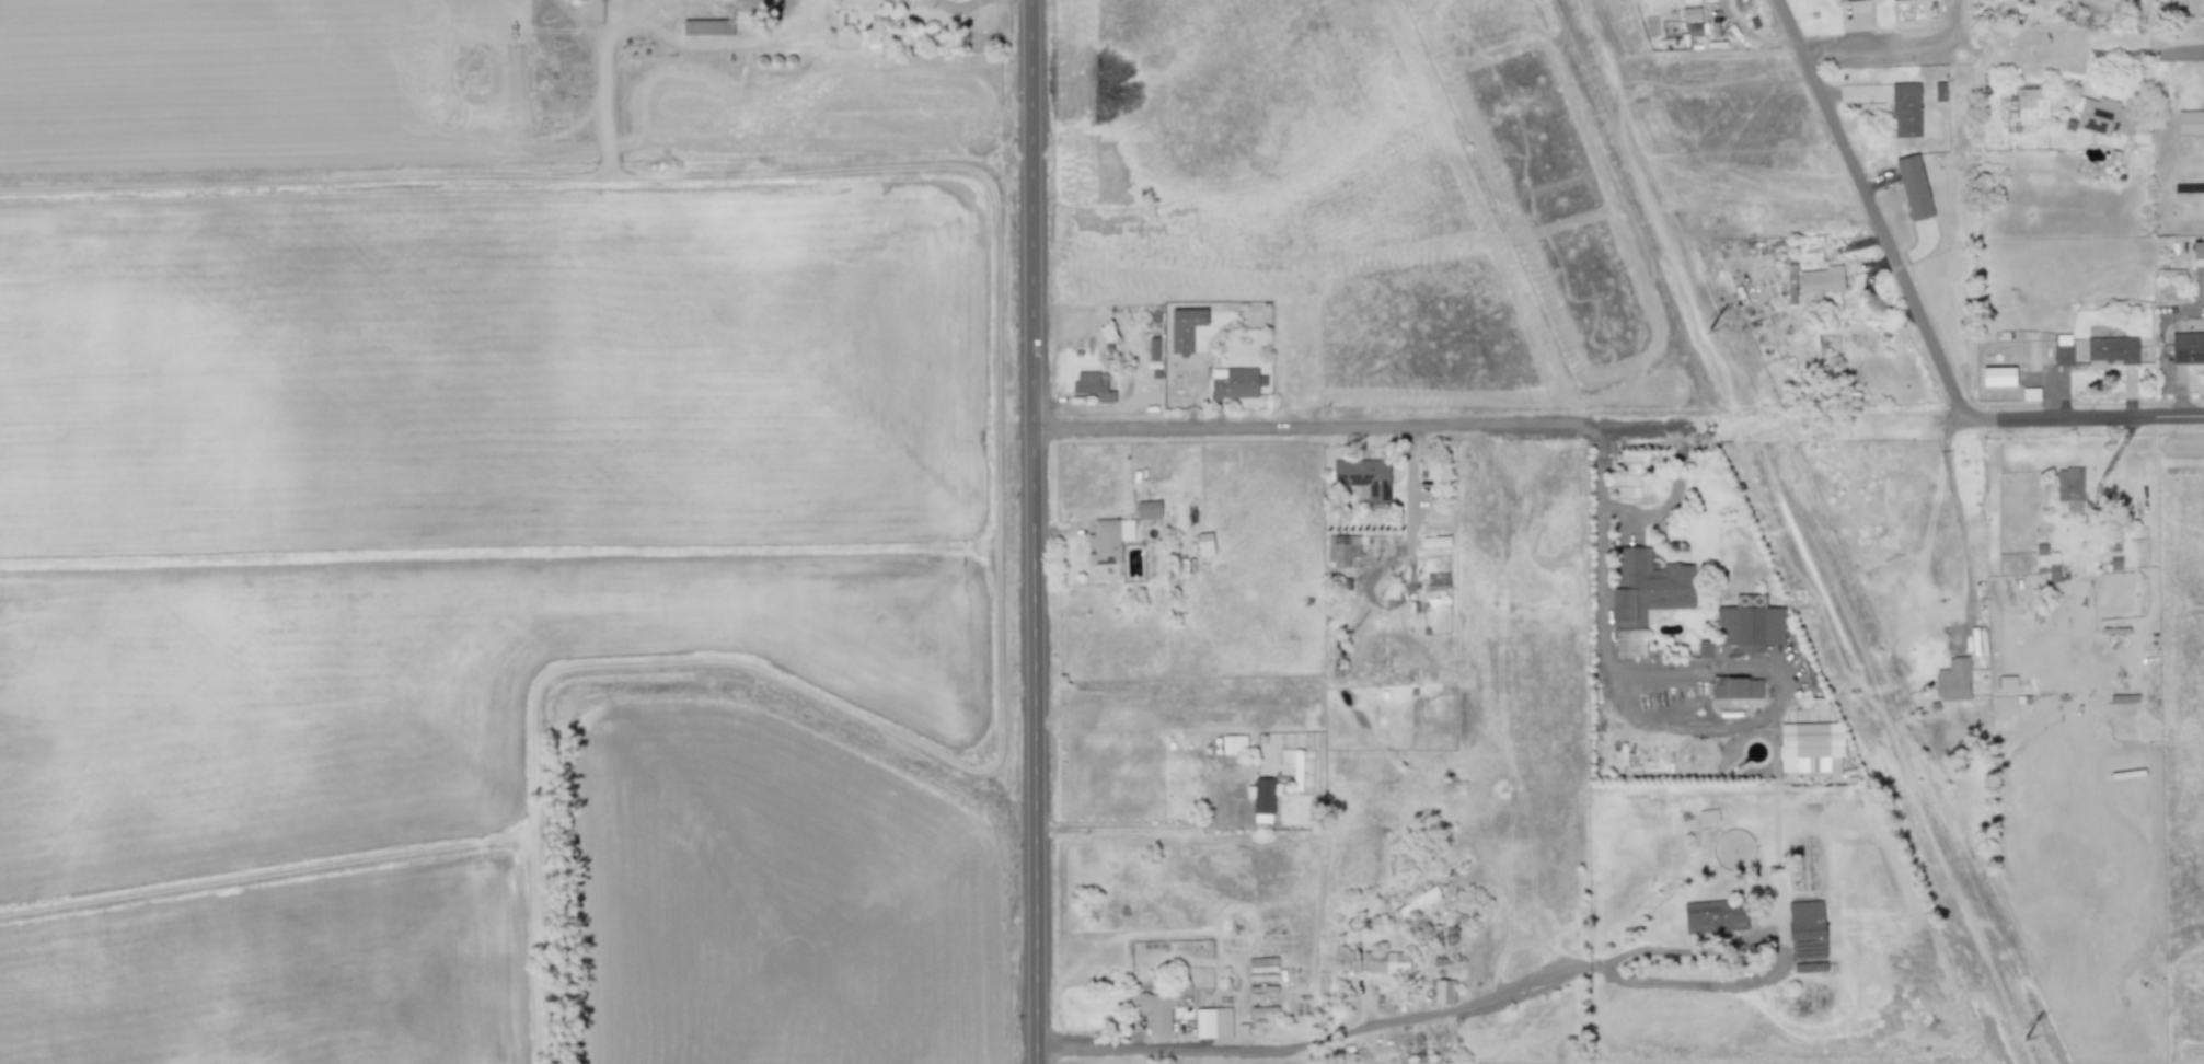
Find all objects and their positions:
building: (1851, 0)
building: (891, 1)
building: (1688, 1)
building: (746, 9)
road: (960, 10)
building: (1690, 13)
road: (2167, 26)
building: (707, 27)
road: (1894, 44)
road: (2158, 53)
building: (1905, 109)
building: (2100, 116)
building: (2191, 122)
building: (1913, 187)
road: (1872, 212)
building: (2197, 254)
building: (1821, 280)
building: (1791, 284)
building: (1184, 328)
road: (1478, 345)
building: (2185, 348)
building: (2062, 349)
building: (2111, 349)
building: (1234, 382)
building: (1092, 385)
building: (2029, 394)
road: (2090, 419)
road: (1315, 425)
road: (1641, 427)
building: (1363, 478)
building: (2069, 487)
building: (1146, 510)
road: (1957, 510)
building: (1126, 530)
road: (1032, 531)
building: (1103, 542)
building: (1434, 542)
road: (1602, 542)
building: (1203, 544)
building: (1339, 550)
building: (2047, 564)
building: (1645, 586)
building: (1436, 589)
crop: (511, 617)
building: (1749, 624)
building: (1629, 643)
building: (1704, 649)
building: (1952, 680)
building: (1734, 687)
building: (2111, 698)
building: (1233, 744)
building: (1810, 748)
building: (1296, 770)
building: (1260, 799)
building: (1707, 816)
road: (1123, 829)
building: (1416, 900)
building: (1713, 917)
building: (1805, 929)
building: (1384, 962)
building: (1443, 992)
building: (1153, 1010)
building: (1212, 1022)
road: (1302, 1048)

